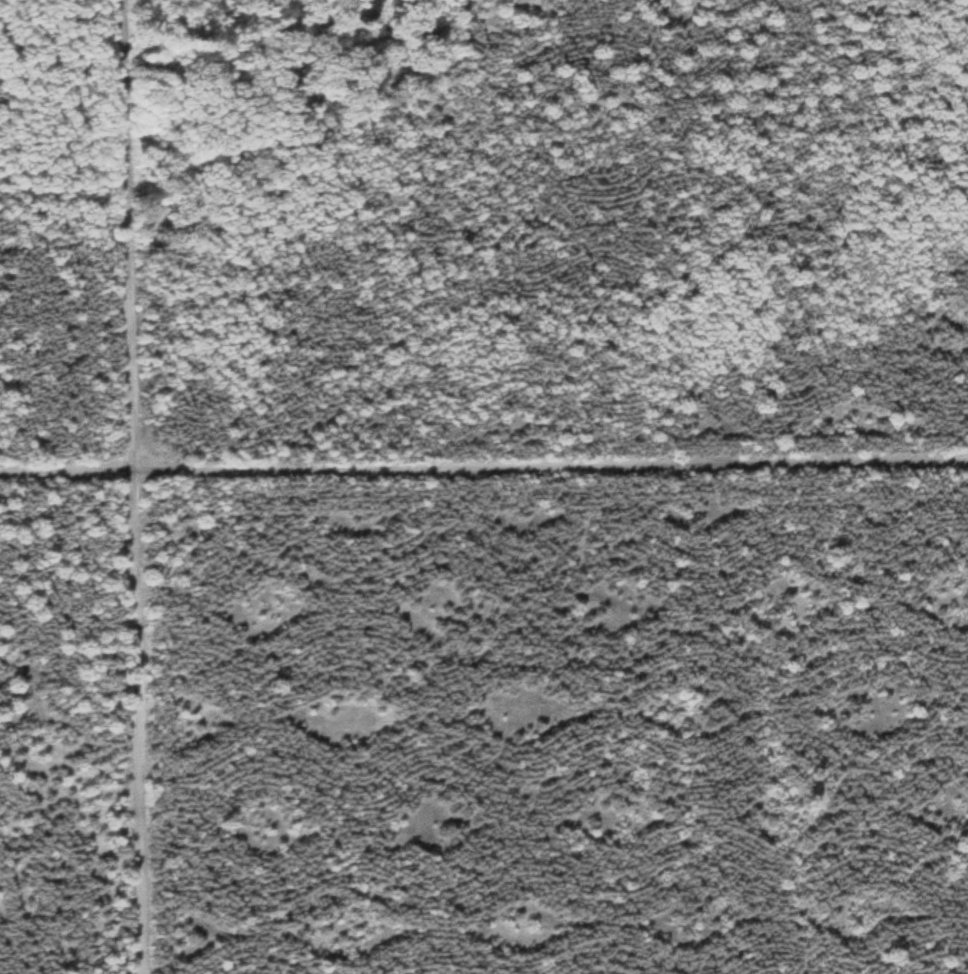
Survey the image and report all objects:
road: (484, 468)
road: (138, 487)

